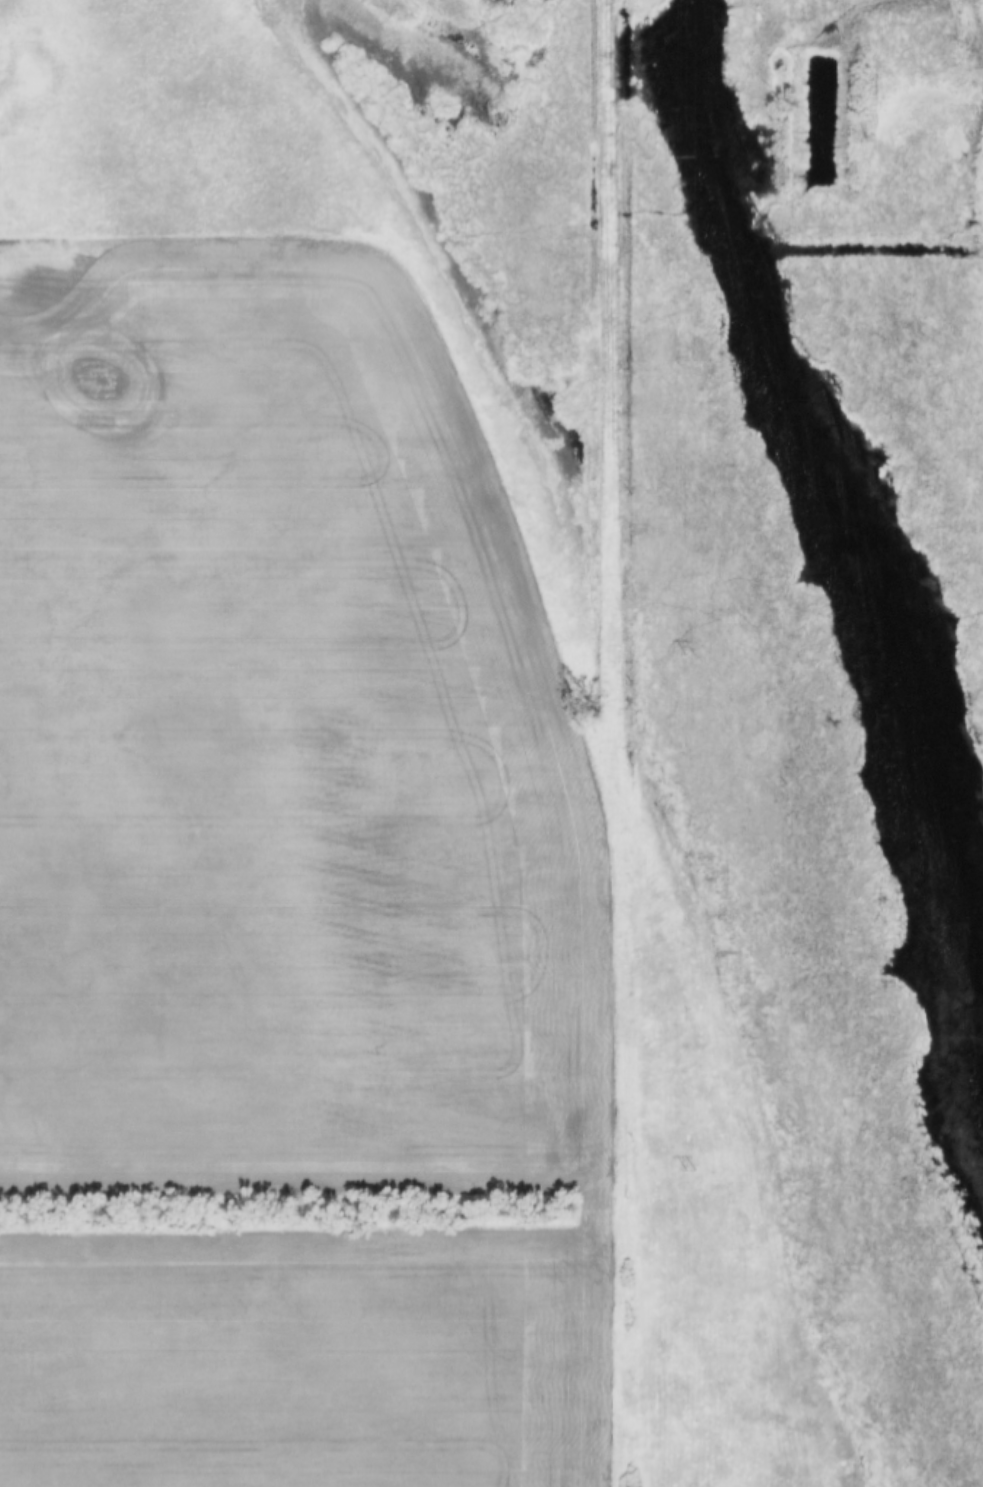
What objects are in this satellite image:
power tower: (688, 156)
power tower: (685, 651)
road: (621, 743)
power tower: (687, 1170)

